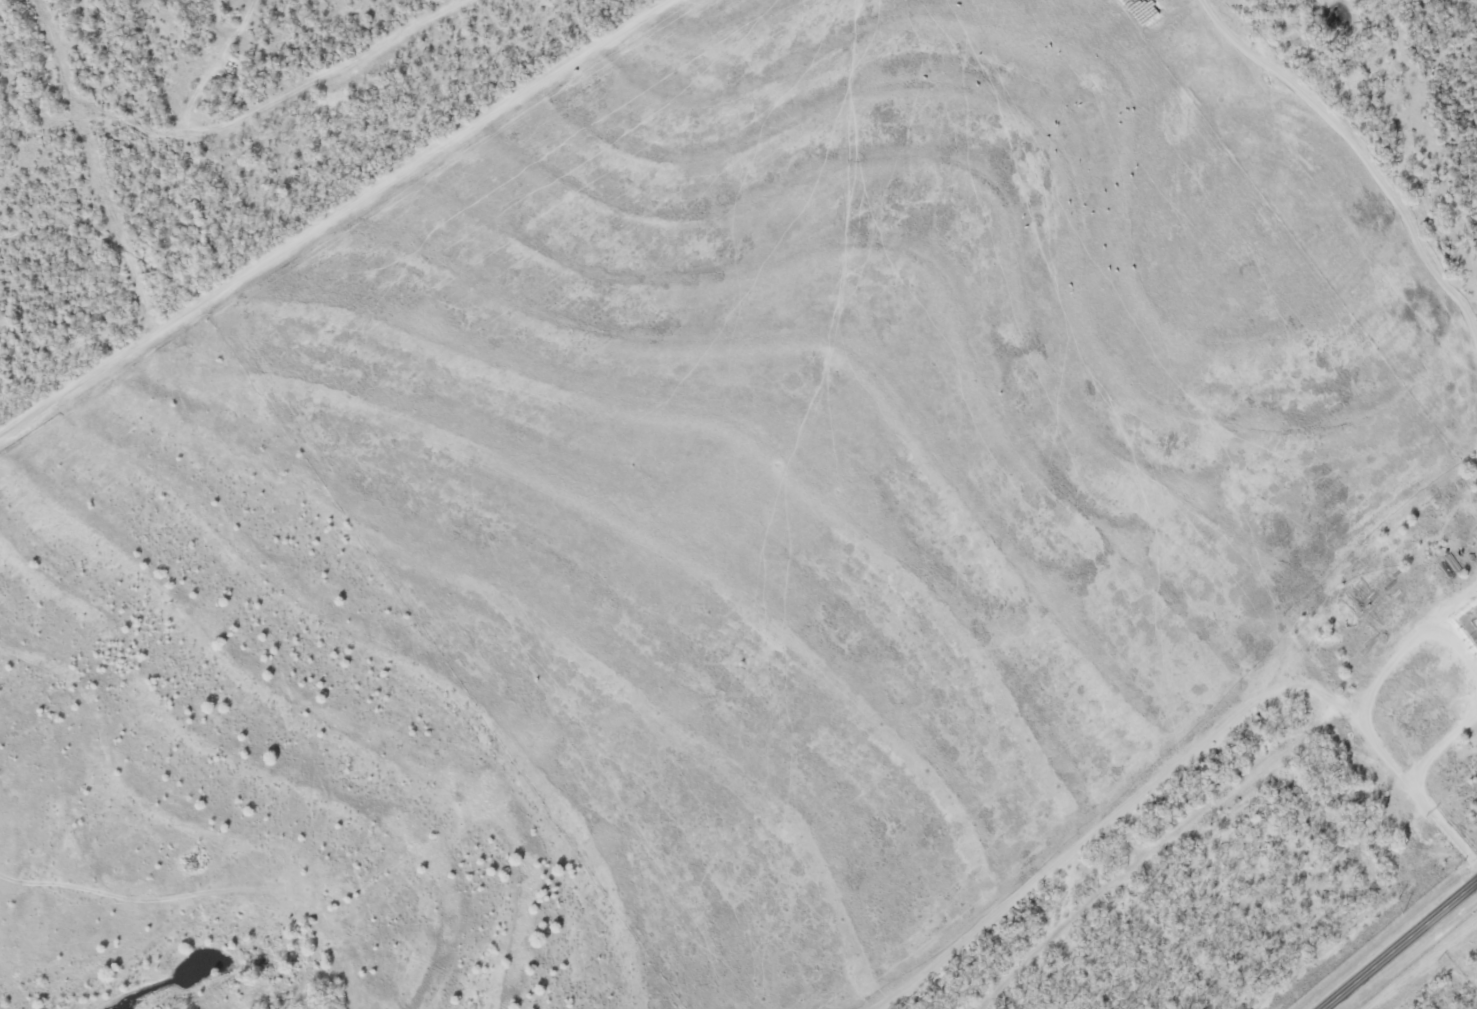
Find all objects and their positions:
road: (1458, 644)
road: (1382, 672)
road: (1411, 787)
road: (1401, 944)

